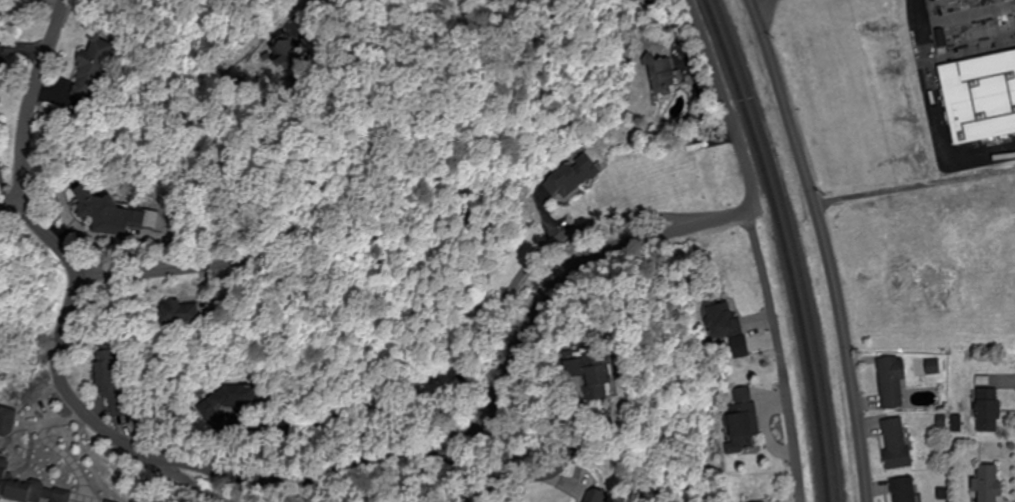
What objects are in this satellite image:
building: (95, 69)
building: (669, 77)
road: (27, 100)
building: (983, 105)
building: (575, 177)
road: (13, 206)
building: (112, 216)
road: (58, 237)
road: (757, 244)
railway: (791, 244)
road: (824, 247)
road: (137, 275)
building: (190, 314)
building: (725, 320)
building: (610, 371)
building: (894, 382)
building: (116, 385)
building: (222, 405)
building: (991, 411)
building: (744, 421)
building: (898, 444)
road: (406, 459)
building: (992, 484)
road: (396, 485)
building: (31, 487)
road: (207, 488)
road: (567, 490)
building: (906, 490)
building: (612, 497)

